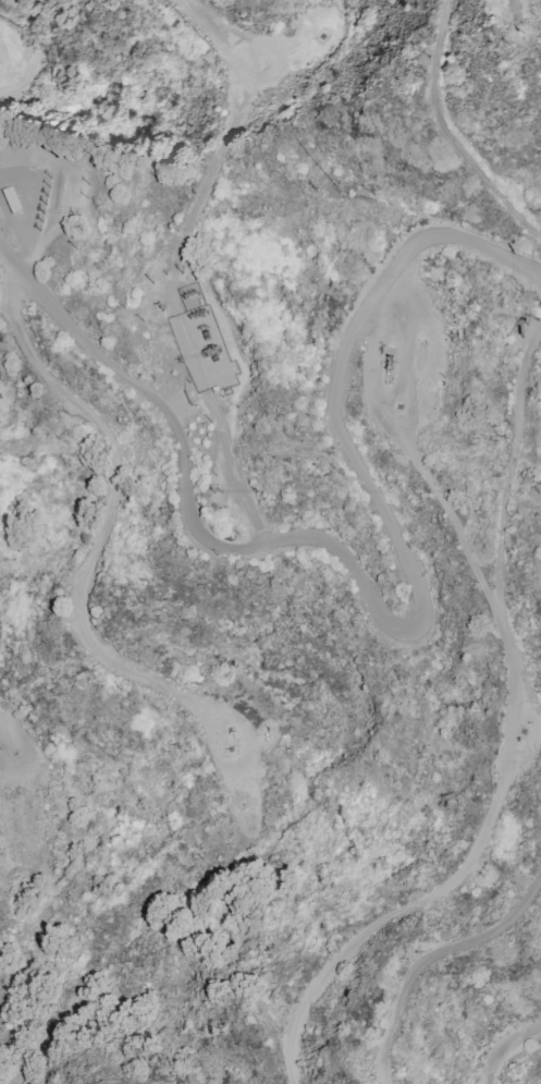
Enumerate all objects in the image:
road: (385, 621)

